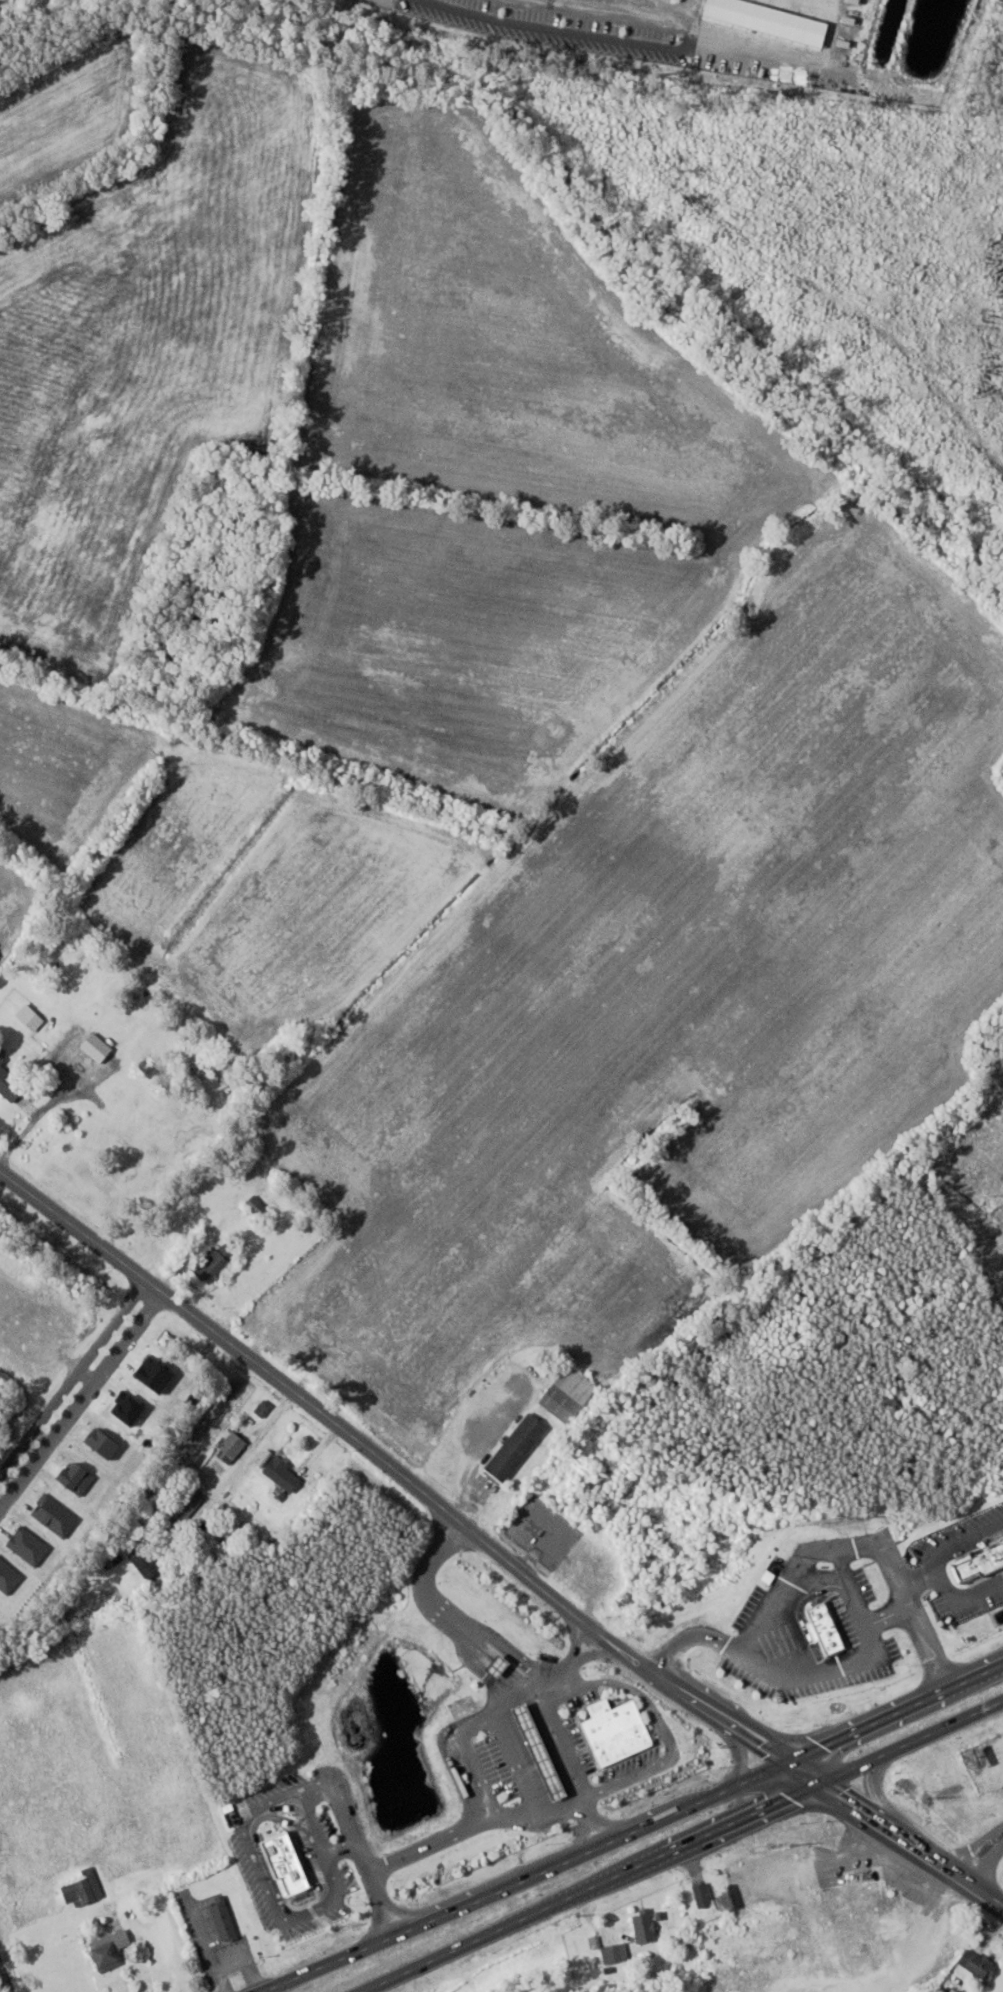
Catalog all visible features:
road: (650, 12)
building: (89, 1054)
building: (11, 1081)
building: (217, 1263)
road: (78, 1387)
building: (570, 1394)
building: (264, 1408)
building: (235, 1445)
building: (517, 1448)
road: (390, 1466)
road: (237, 1471)
building: (285, 1474)
building: (186, 1506)
road: (960, 1541)
building: (145, 1562)
road: (944, 1580)
road: (448, 1618)
building: (828, 1628)
road: (572, 1632)
road: (832, 1668)
road: (546, 1706)
building: (618, 1730)
building: (541, 1744)
traffic signals: (783, 1761)
traffic signals: (820, 1785)
road: (456, 1828)
road: (638, 1828)
road: (893, 1835)
road: (685, 1846)
road: (981, 1857)
building: (813, 1876)
building: (85, 1889)
building: (703, 1895)
building: (853, 1899)
building: (774, 1912)
building: (224, 1919)
building: (3, 1922)
building: (645, 1926)
building: (112, 1950)
building: (725, 1951)
building: (859, 1952)
building: (982, 1967)
road: (139, 1979)
building: (810, 1991)

